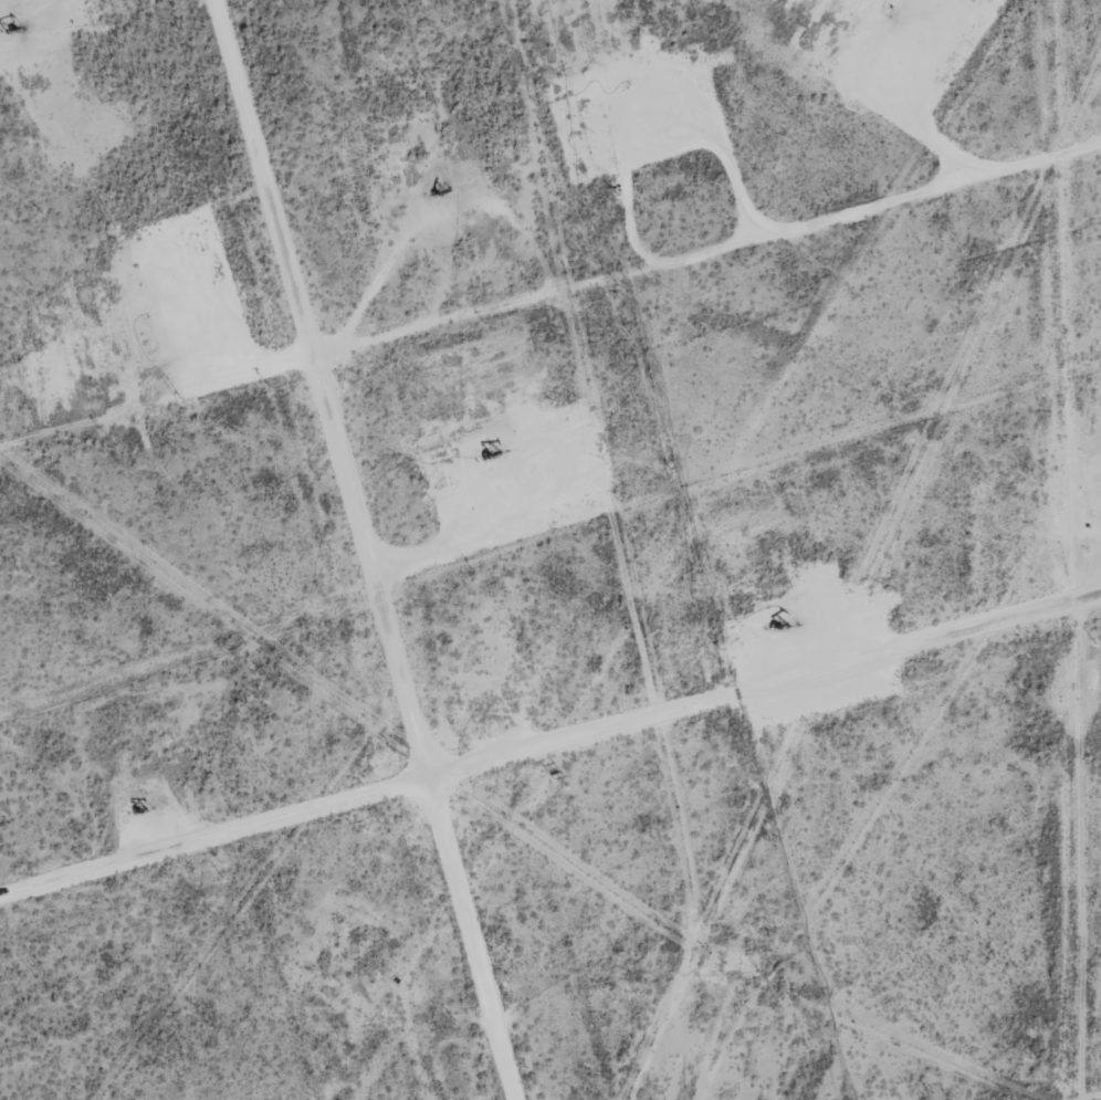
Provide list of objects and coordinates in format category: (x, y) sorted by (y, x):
road: (371, 549)
road: (549, 779)

